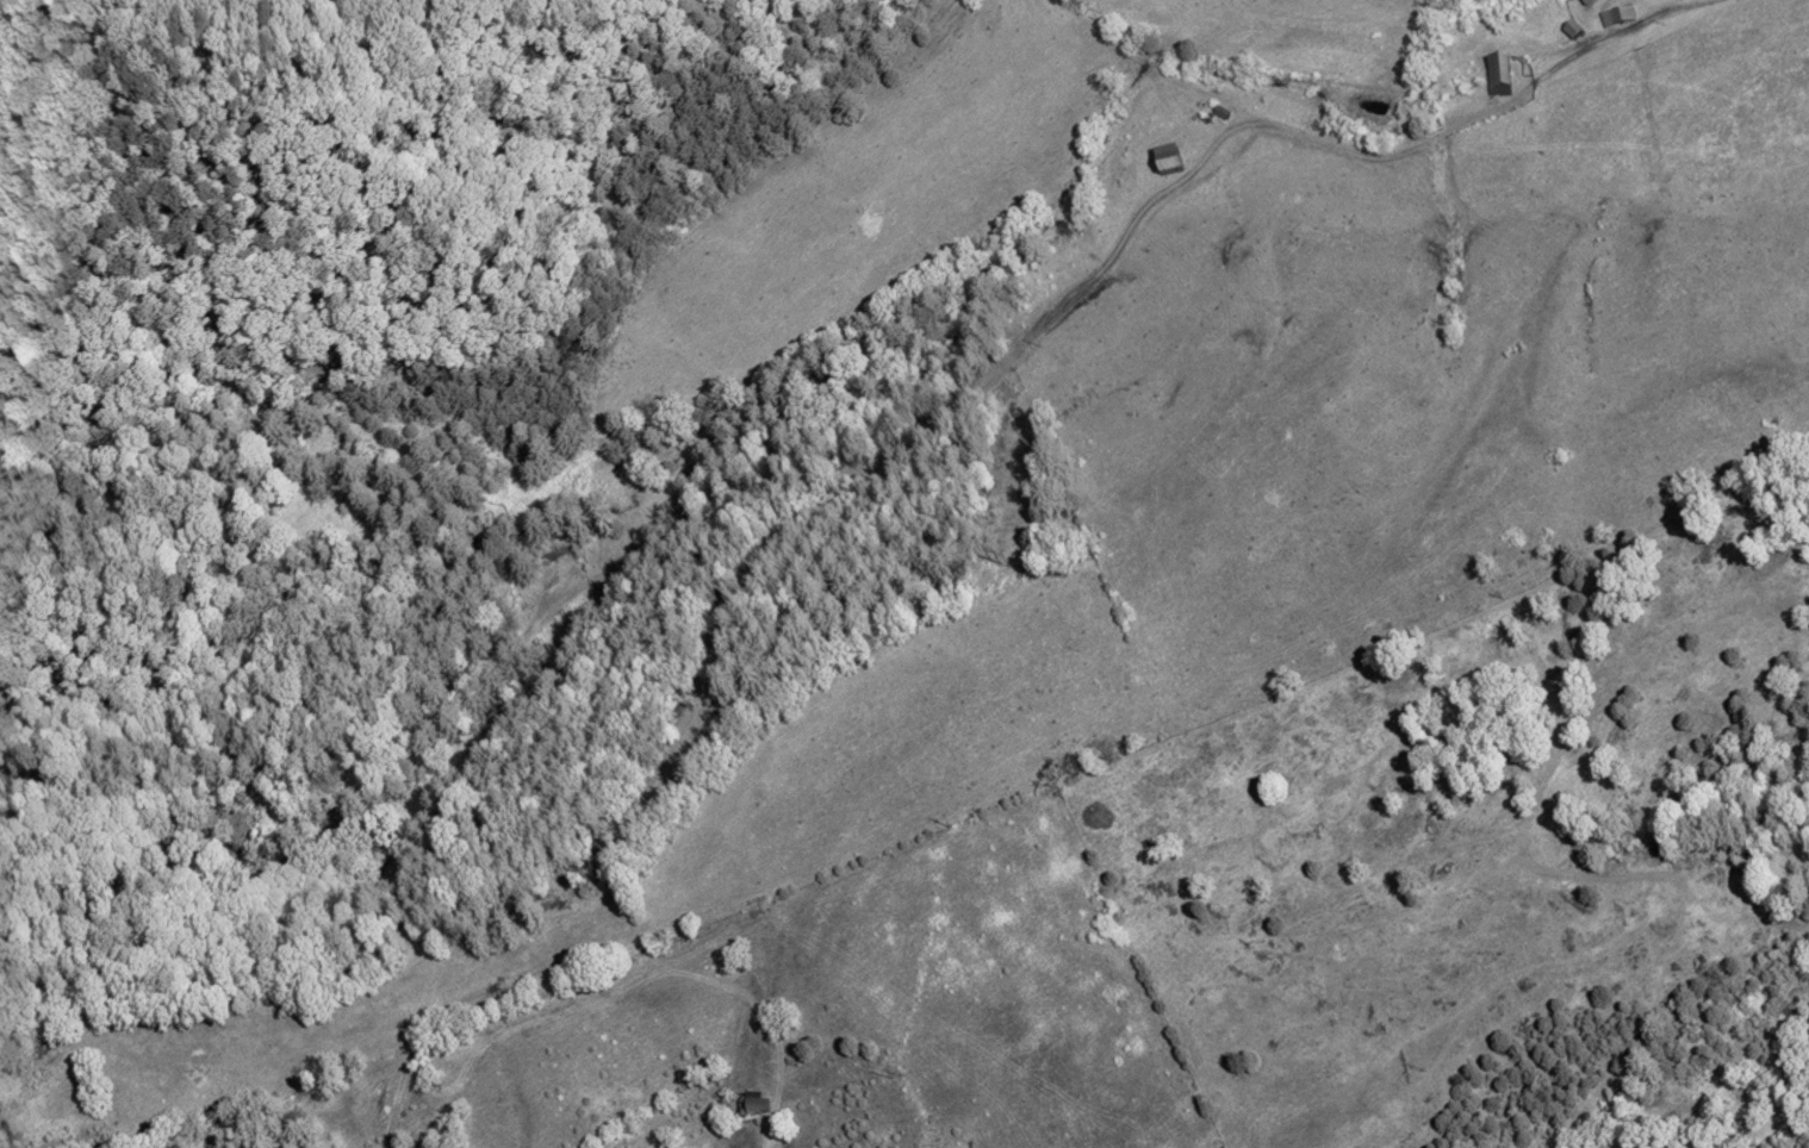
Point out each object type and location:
building: (1617, 15)
building: (1573, 30)
road: (1574, 52)
building: (1498, 75)
building: (1167, 162)
road: (950, 417)
building: (753, 1103)

